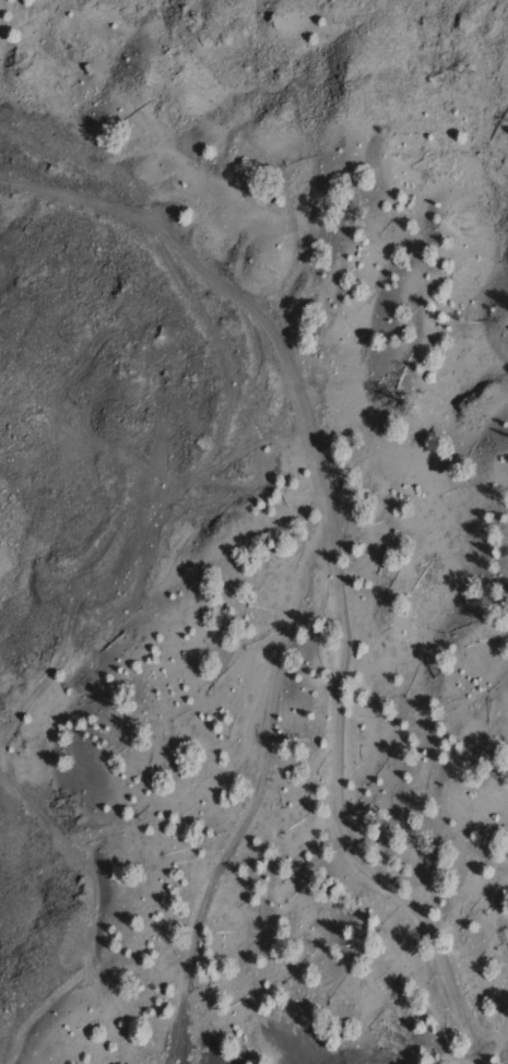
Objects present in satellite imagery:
quarry: (465, 1061)

